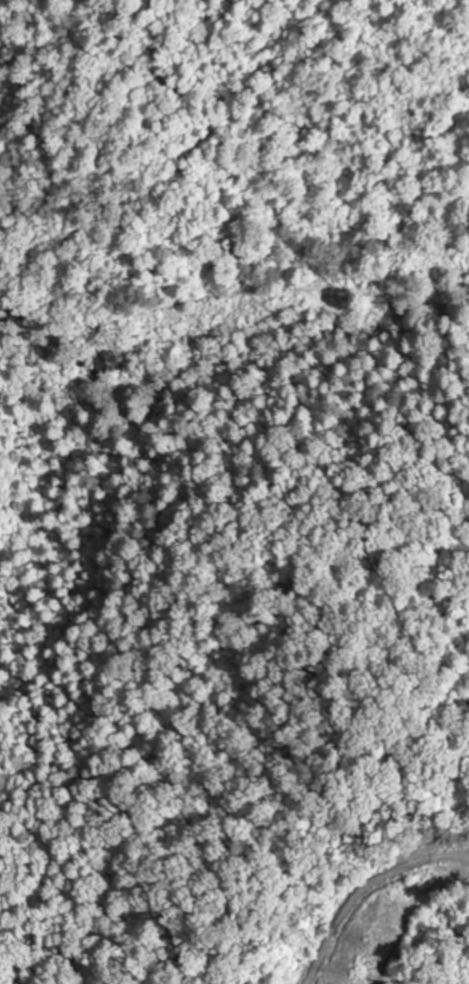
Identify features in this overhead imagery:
road: (335, 280)
building: (103, 364)

